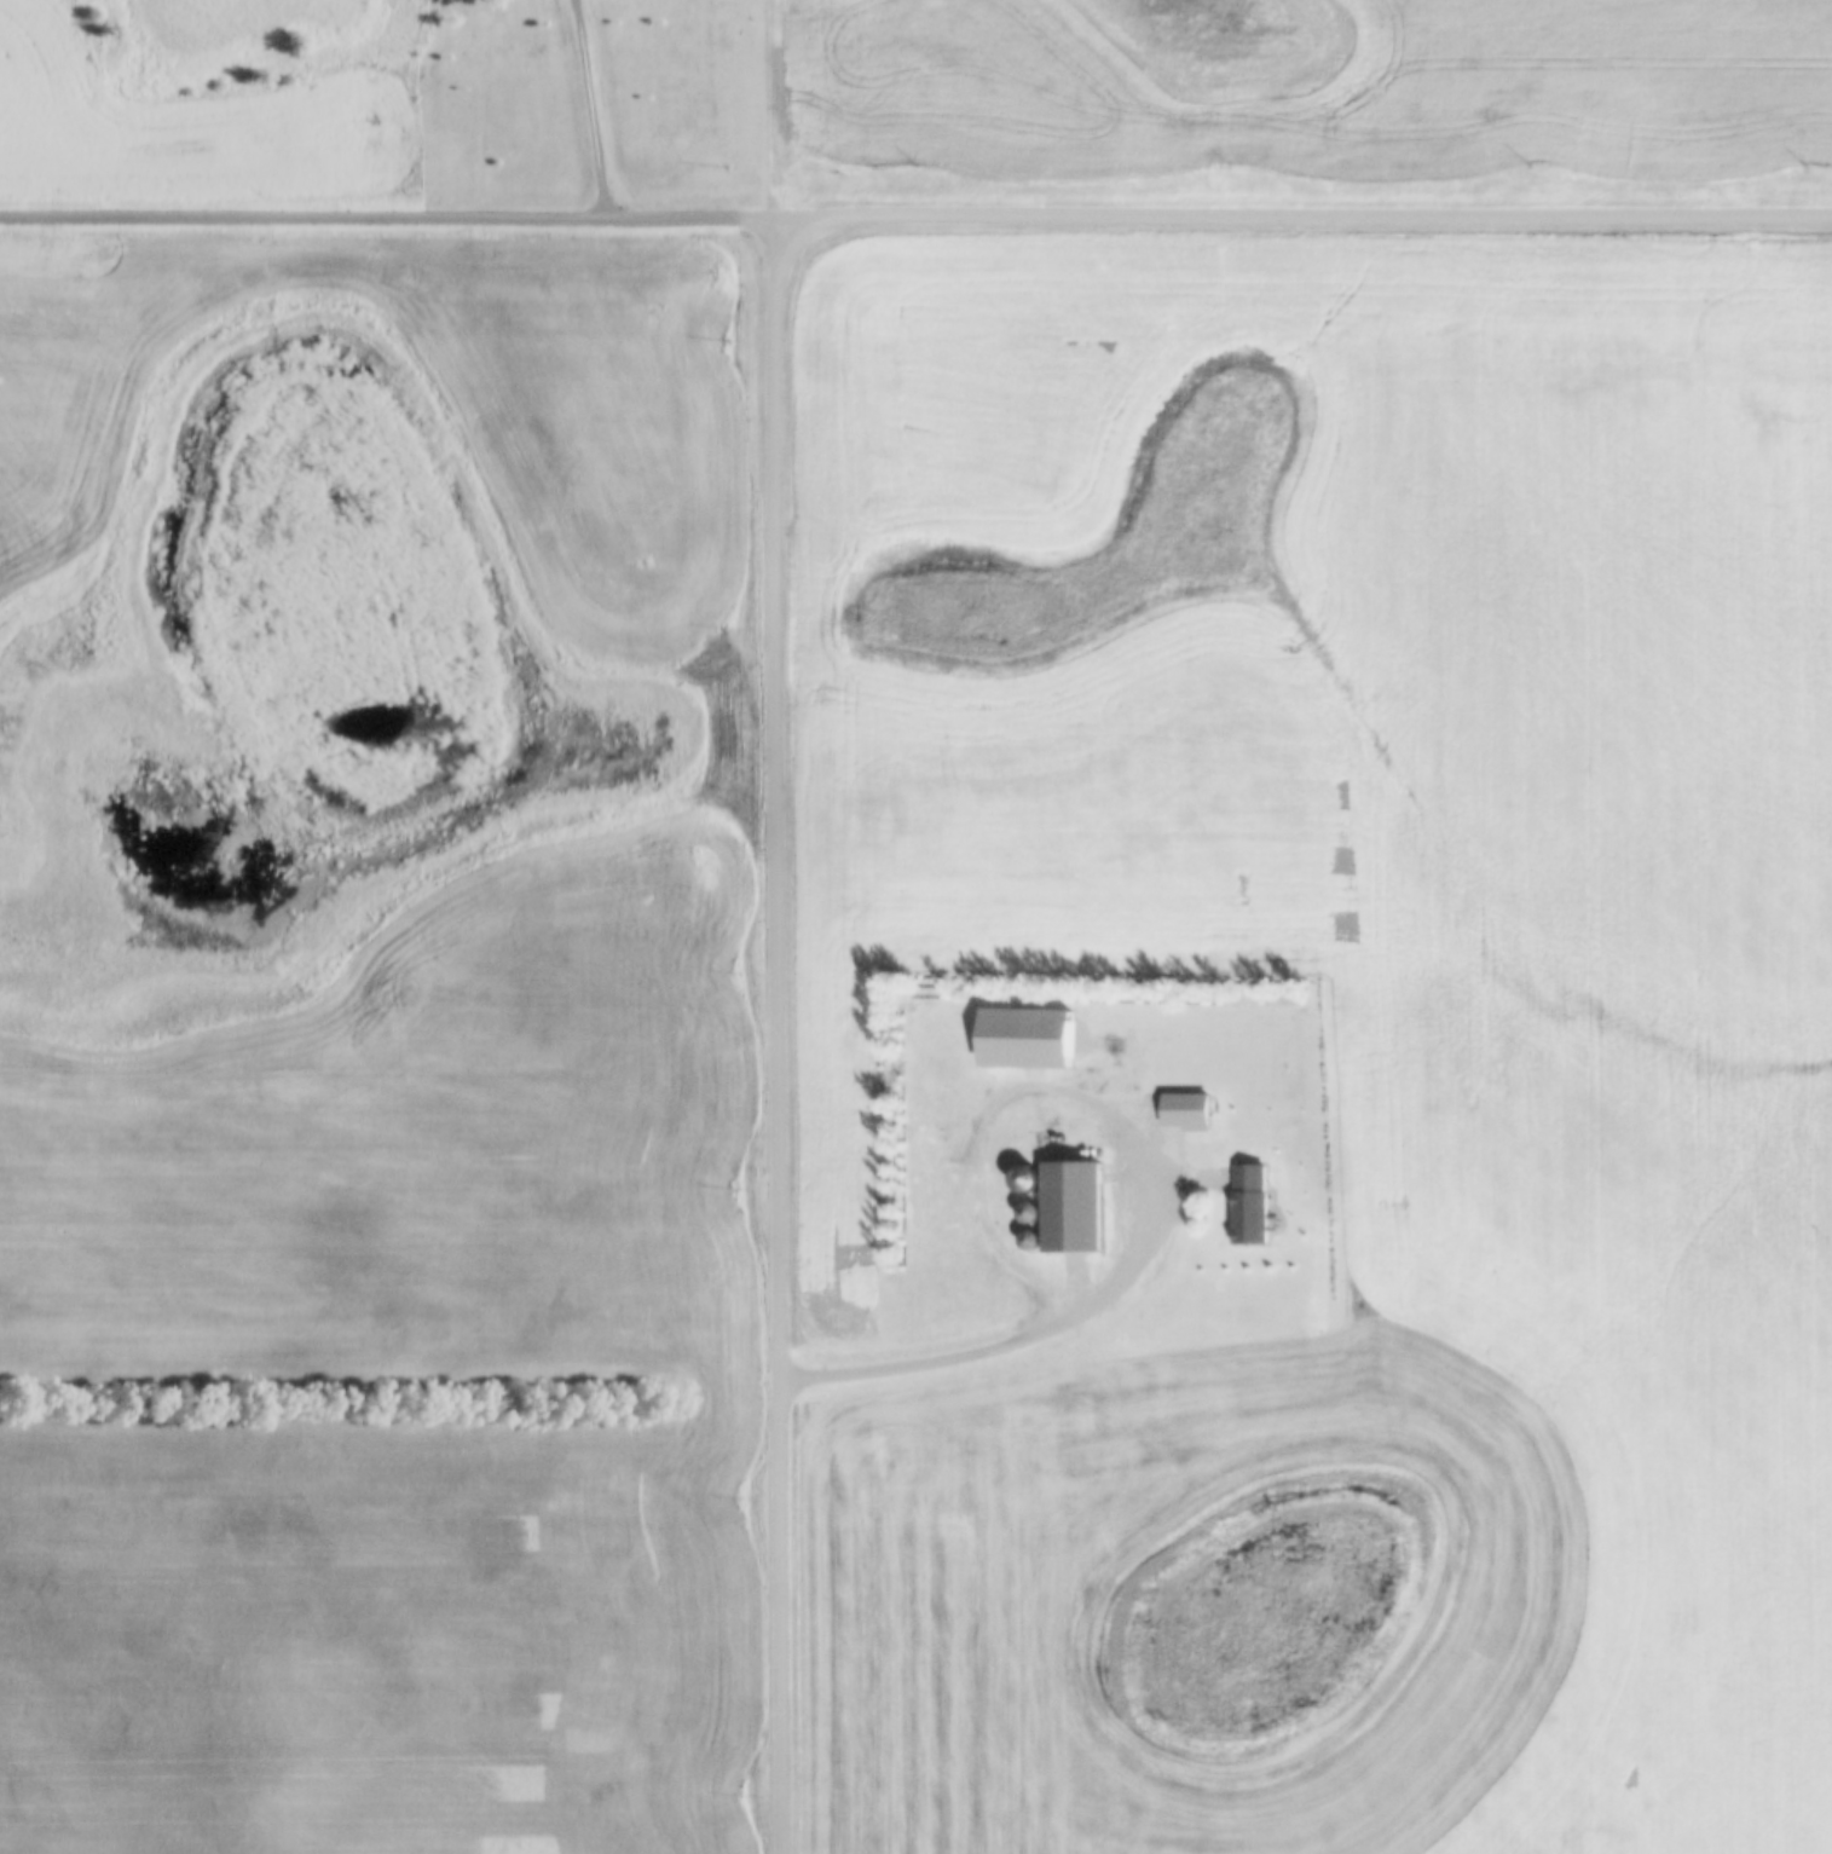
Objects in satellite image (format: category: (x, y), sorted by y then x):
road: (593, 110)
road: (770, 110)
road: (915, 218)
road: (774, 1036)
building: (1029, 1180)
building: (1242, 1202)
building: (1075, 1207)
road: (1009, 1341)

